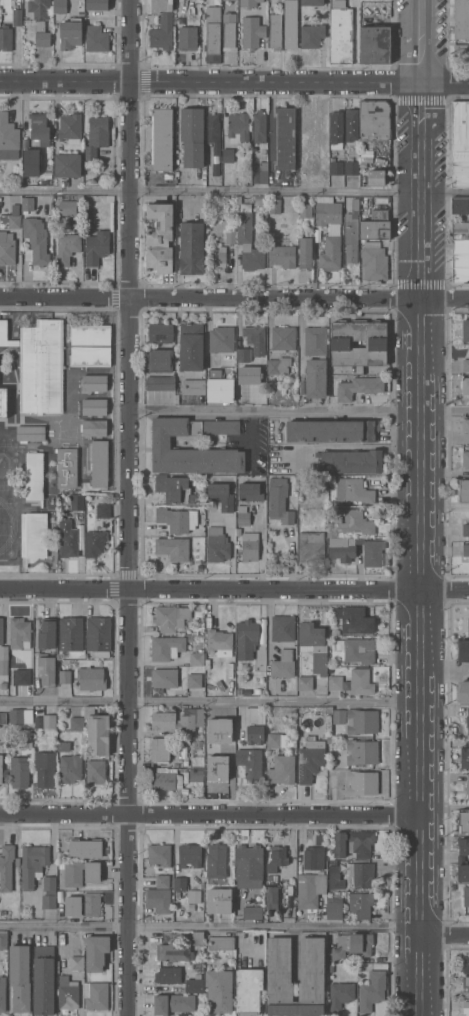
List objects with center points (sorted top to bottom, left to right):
building: (312, 2)
building: (249, 3)
building: (98, 4)
building: (60, 6)
building: (39, 9)
building: (17, 16)
building: (0, 17)
building: (461, 19)
building: (161, 23)
building: (291, 24)
building: (275, 30)
building: (230, 31)
building: (252, 31)
building: (341, 32)
building: (70, 33)
building: (213, 34)
building: (312, 35)
building: (6, 37)
building: (42, 38)
building: (96, 38)
building: (188, 38)
building: (376, 44)
building: (461, 52)
road: (234, 80)
building: (375, 120)
building: (352, 124)
building: (39, 125)
building: (260, 126)
building: (70, 127)
building: (238, 127)
building: (336, 130)
building: (7, 135)
building: (97, 135)
building: (193, 135)
road: (270, 135)
building: (285, 138)
building: (162, 139)
building: (215, 140)
building: (460, 143)
building: (228, 155)
building: (31, 161)
building: (68, 165)
building: (87, 165)
building: (337, 167)
building: (352, 167)
building: (261, 172)
building: (48, 174)
building: (376, 177)
building: (93, 180)
road: (300, 190)
road: (65, 191)
building: (261, 201)
building: (27, 204)
building: (460, 205)
building: (275, 206)
building: (68, 207)
building: (306, 210)
building: (11, 218)
building: (376, 225)
building: (160, 226)
building: (461, 230)
building: (329, 231)
building: (352, 232)
building: (248, 239)
building: (36, 241)
building: (67, 247)
building: (97, 247)
building: (192, 247)
building: (7, 248)
building: (306, 252)
building: (283, 255)
building: (216, 257)
building: (159, 260)
building: (374, 261)
building: (460, 261)
road: (234, 302)
building: (465, 330)
building: (3, 331)
road: (301, 331)
building: (161, 332)
building: (222, 338)
building: (255, 338)
building: (283, 338)
building: (13, 342)
building: (342, 343)
building: (90, 344)
building: (191, 346)
building: (244, 354)
building: (160, 360)
building: (315, 362)
building: (465, 364)
building: (279, 365)
building: (41, 366)
building: (248, 375)
building: (95, 382)
building: (161, 383)
building: (465, 385)
building: (194, 386)
building: (359, 386)
building: (219, 387)
building: (3, 401)
building: (95, 406)
road: (299, 412)
building: (465, 424)
building: (94, 427)
building: (331, 431)
building: (31, 432)
road: (252, 436)
building: (162, 441)
road: (360, 447)
building: (466, 458)
building: (351, 461)
building: (100, 463)
building: (67, 467)
building: (35, 475)
building: (175, 488)
building: (354, 490)
building: (463, 490)
building: (250, 491)
building: (221, 495)
building: (280, 500)
building: (76, 501)
road: (445, 504)
road: (131, 507)
road: (421, 507)
building: (103, 510)
building: (243, 515)
building: (178, 519)
building: (302, 521)
building: (351, 525)
building: (466, 529)
building: (238, 531)
building: (34, 534)
building: (70, 538)
building: (95, 542)
building: (217, 544)
building: (250, 546)
building: (311, 546)
building: (173, 547)
building: (466, 549)
building: (342, 554)
road: (234, 589)
building: (171, 617)
building: (354, 619)
building: (210, 620)
building: (468, 625)
building: (283, 628)
building: (1, 630)
building: (20, 633)
building: (47, 633)
building: (71, 633)
building: (99, 633)
building: (247, 638)
building: (219, 640)
building: (314, 645)
building: (167, 647)
building: (357, 649)
building: (463, 650)
building: (197, 657)
building: (3, 659)
building: (284, 664)
building: (47, 669)
building: (199, 669)
road: (445, 671)
building: (23, 676)
building: (65, 676)
building: (165, 677)
building: (92, 678)
building: (195, 680)
building: (361, 681)
building: (336, 682)
building: (305, 683)
building: (4, 684)
building: (258, 690)
building: (239, 691)
building: (463, 691)
road: (210, 703)
building: (329, 709)
building: (20, 715)
building: (340, 716)
building: (3, 717)
building: (178, 719)
building: (50, 720)
building: (39, 721)
building: (362, 721)
building: (468, 721)
building: (77, 722)
building: (219, 730)
building: (98, 732)
building: (256, 734)
building: (25, 738)
building: (277, 739)
building: (329, 739)
building: (198, 743)
building: (64, 745)
building: (160, 749)
building: (362, 751)
building: (216, 756)
building: (465, 757)
building: (311, 759)
building: (198, 760)
building: (252, 763)
building: (1, 767)
building: (46, 768)
building: (70, 768)
building: (282, 769)
building: (20, 771)
building: (96, 771)
building: (196, 776)
building: (166, 780)
building: (362, 782)
building: (467, 788)
road: (210, 813)
building: (464, 821)
building: (354, 843)
building: (85, 848)
building: (463, 850)
building: (160, 854)
building: (190, 854)
building: (314, 857)
building: (277, 858)
building: (17, 860)
building: (217, 862)
building: (33, 864)
building: (249, 865)
building: (6, 866)
building: (93, 872)
building: (463, 872)
building: (74, 873)
building: (360, 875)
building: (268, 876)
building: (335, 876)
building: (163, 880)
building: (180, 883)
building: (310, 889)
building: (49, 892)
building: (177, 894)
building: (466, 895)
building: (194, 897)
building: (272, 898)
building: (159, 899)
building: (83, 904)
building: (361, 904)
building: (225, 909)
building: (334, 909)
building: (252, 912)
road: (211, 928)
road: (445, 936)
building: (198, 937)
building: (3, 939)
building: (221, 943)
building: (352, 945)
building: (96, 951)
building: (174, 952)
building: (312, 959)
building: (77, 962)
building: (370, 965)
building: (465, 965)
building: (168, 974)
building: (20, 977)
building: (43, 979)
building: (195, 985)
building: (466, 986)
building: (220, 989)
building: (372, 990)
building: (249, 991)
building: (2, 993)
building: (67, 993)
building: (96, 994)
building: (340, 995)
building: (173, 1003)
building: (466, 1007)

